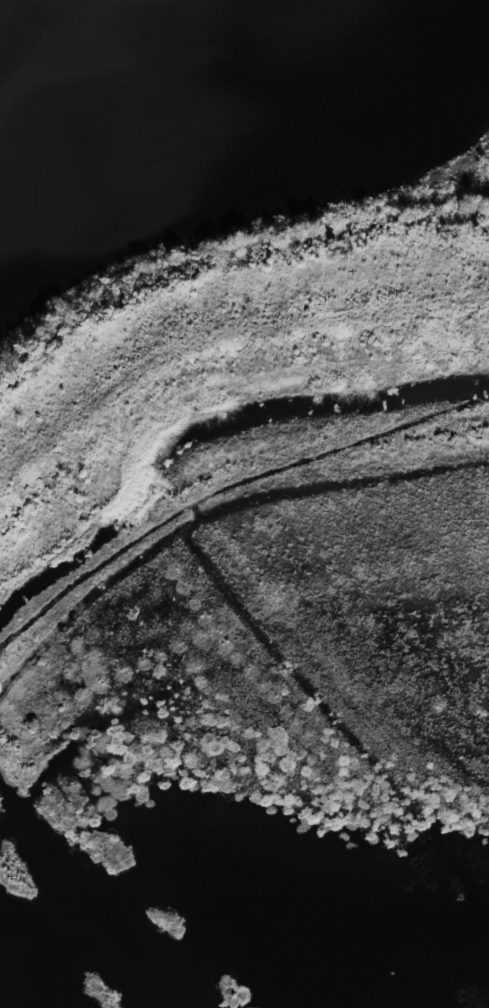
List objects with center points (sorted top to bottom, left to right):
landfill: (256, 623)

